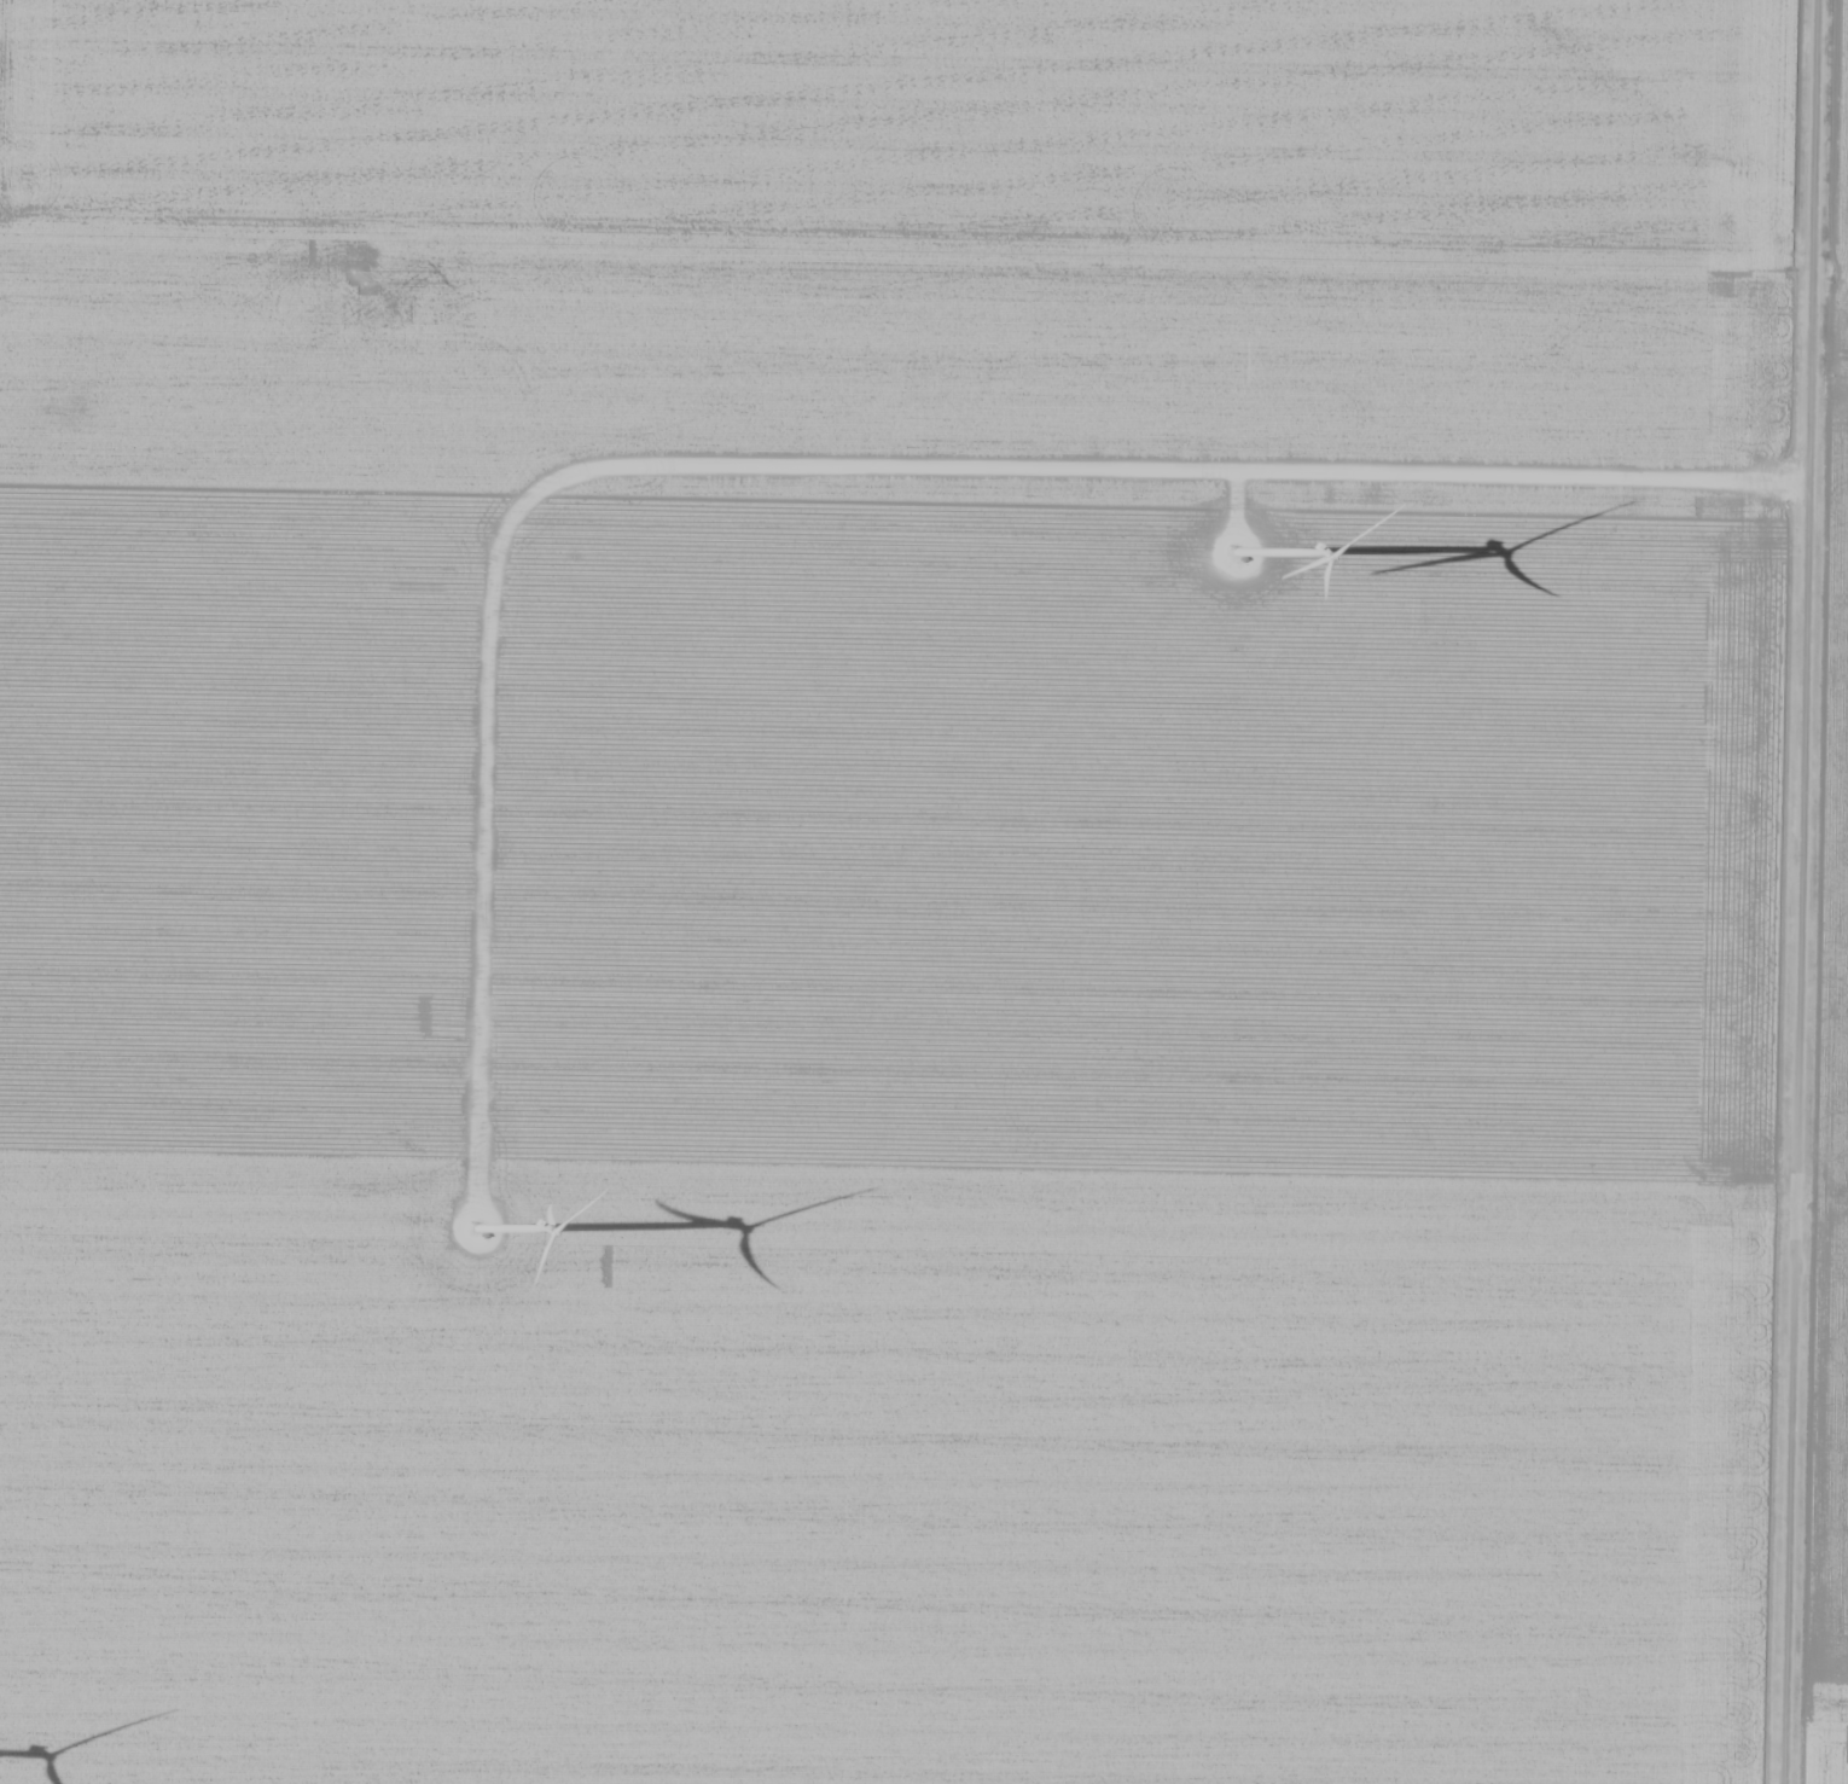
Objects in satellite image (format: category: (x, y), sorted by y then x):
power tower: (360, 275)
wind turbine: (1234, 565)
road: (1803, 891)
wind turbine: (471, 1196)

